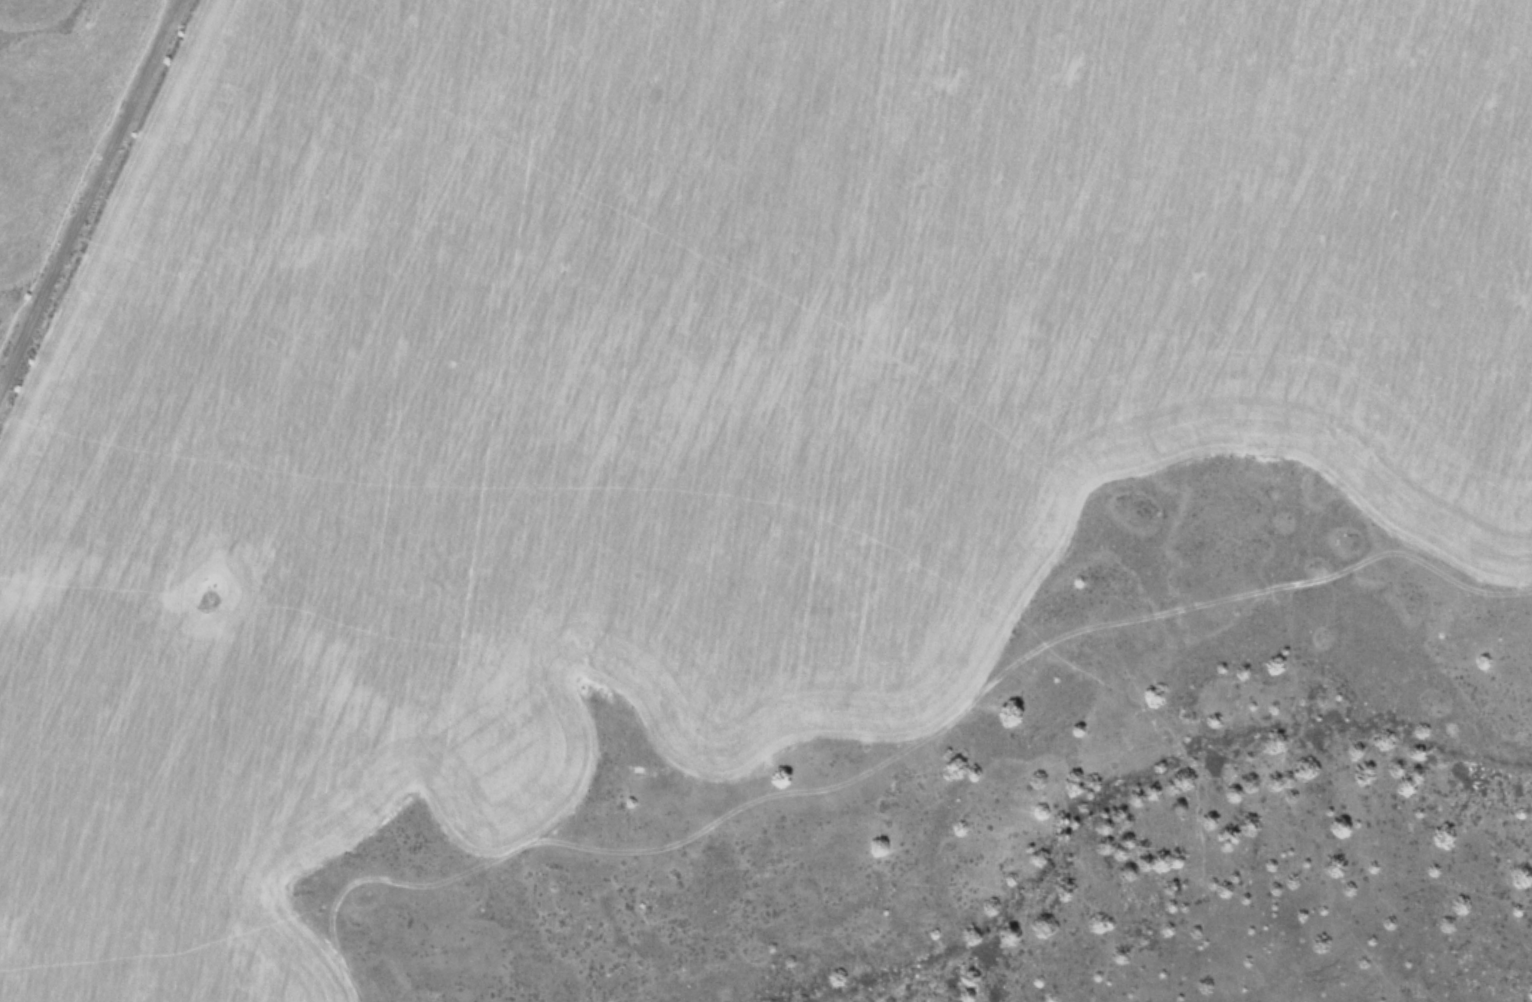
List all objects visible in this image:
road: (90, 193)

